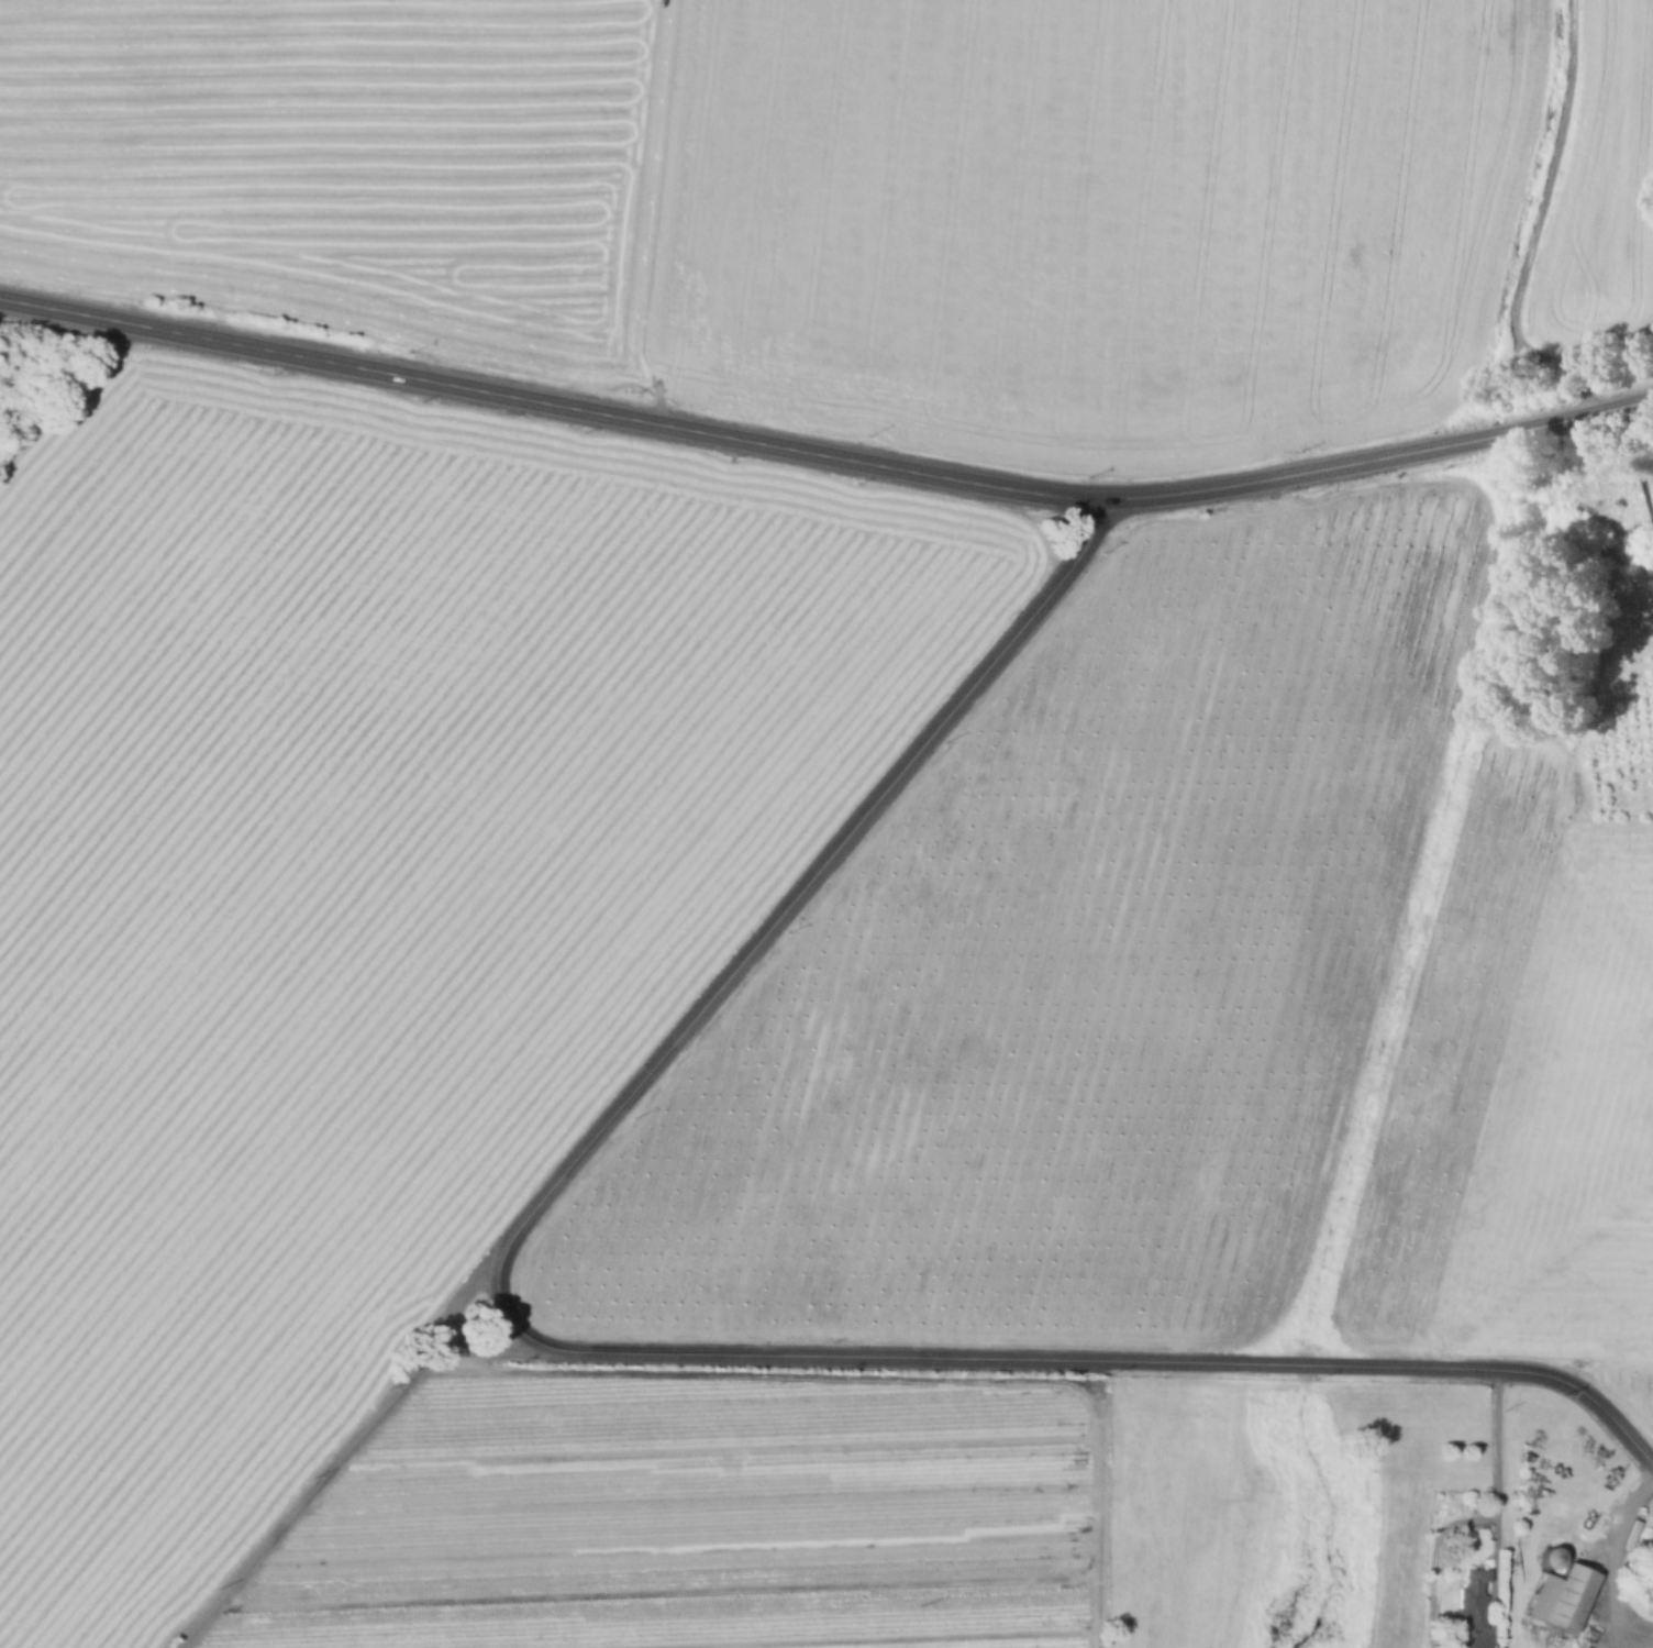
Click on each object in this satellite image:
crop: (351, 168)
crop: (1602, 191)
crop: (1092, 218)
road: (1538, 228)
road: (661, 369)
road: (825, 451)
road: (812, 875)
crop: (369, 886)
crop: (1070, 971)
crop: (1522, 1093)
road: (481, 1342)
road: (1055, 1358)
road: (884, 1375)
road: (1497, 1440)
road: (347, 1449)
crop: (699, 1519)
road: (1432, 1558)
road: (1609, 1560)
building: (1552, 1562)
silo: (1552, 1562)
building: (1648, 1566)
road: (1494, 1582)
building: (1476, 1590)
building: (1563, 1601)

